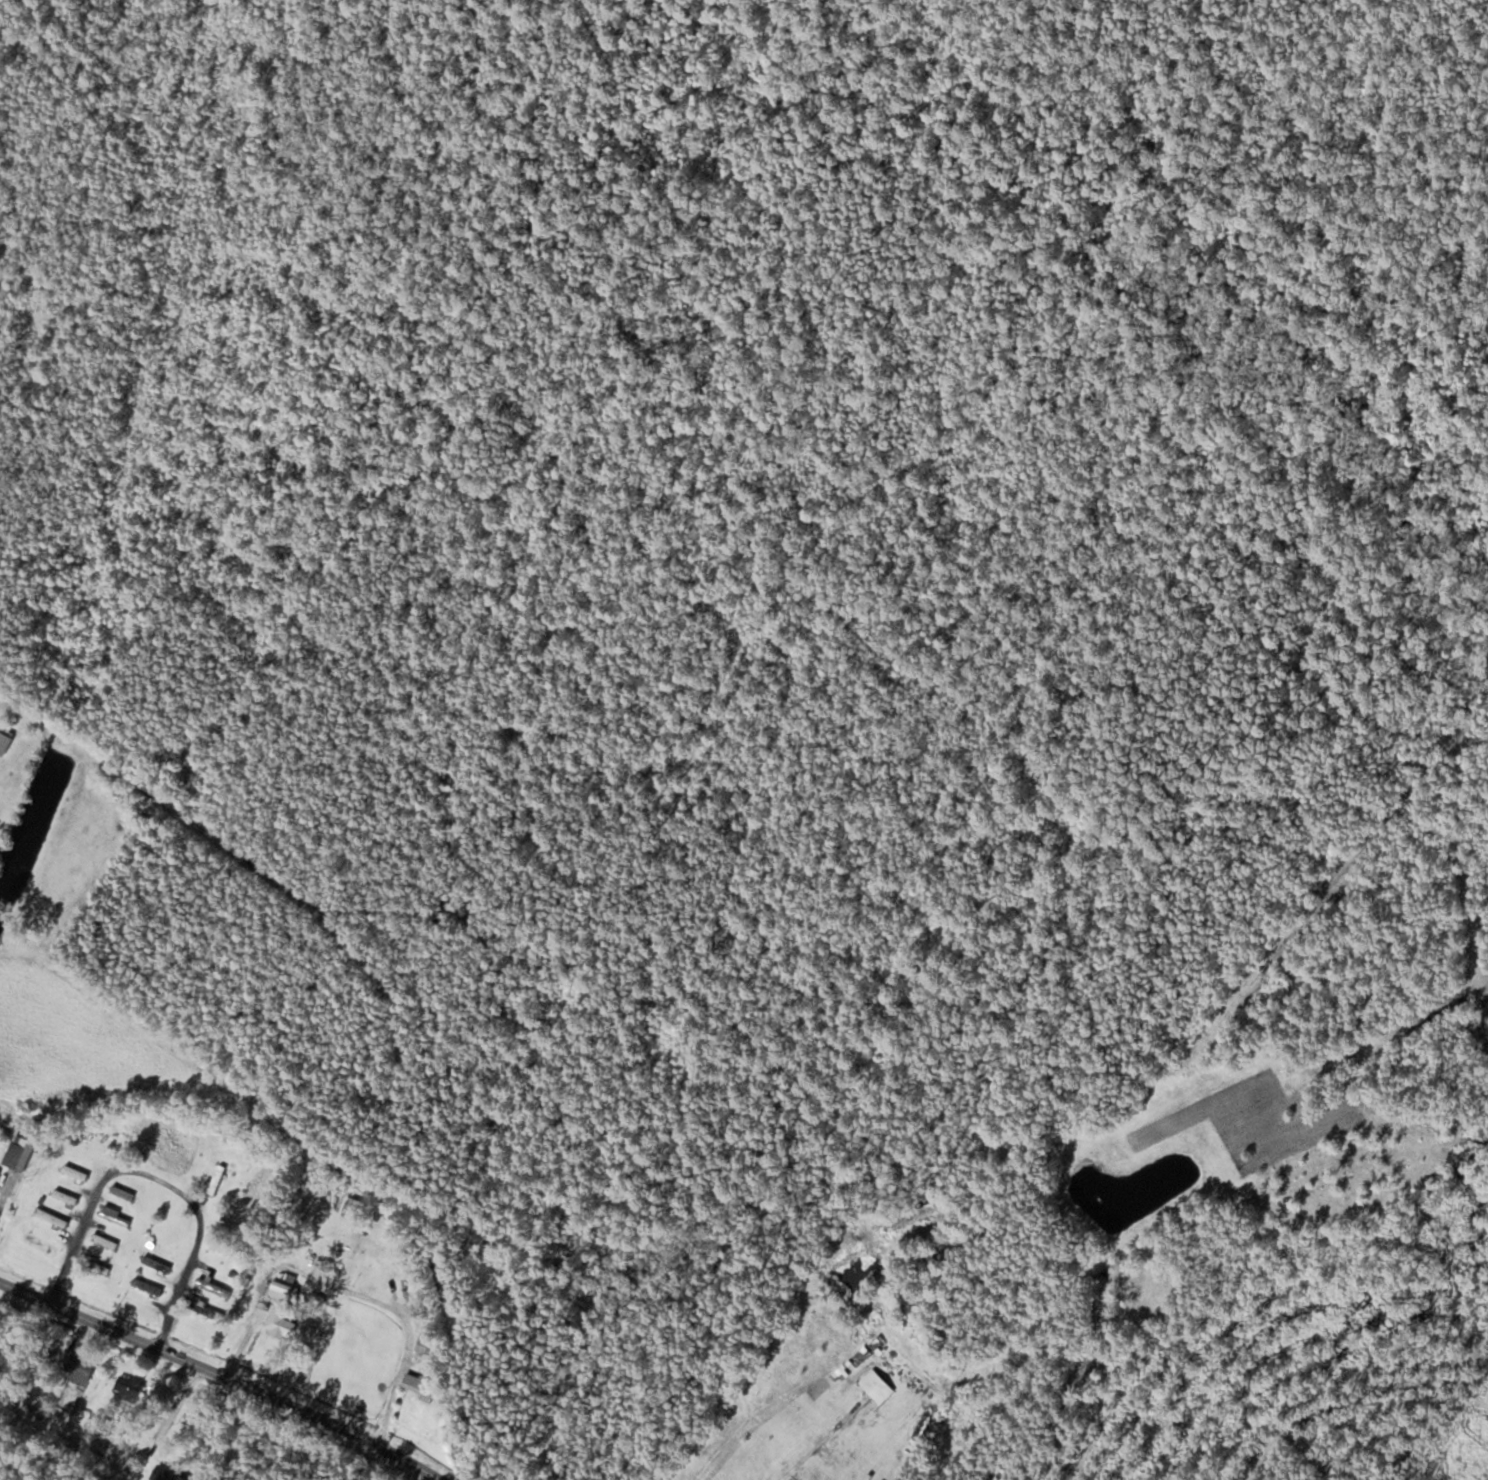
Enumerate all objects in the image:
building: (5, 739)
building: (14, 1163)
building: (75, 1172)
building: (216, 1179)
building: (122, 1192)
building: (65, 1197)
building: (352, 1207)
building: (51, 1217)
building: (105, 1241)
building: (40, 1243)
building: (383, 1254)
building: (156, 1264)
building: (147, 1286)
building: (213, 1287)
building: (283, 1287)
building: (282, 1319)
building: (425, 1343)
building: (76, 1366)
road: (224, 1376)
building: (876, 1385)
building: (421, 1386)
building: (128, 1387)
building: (165, 1474)

